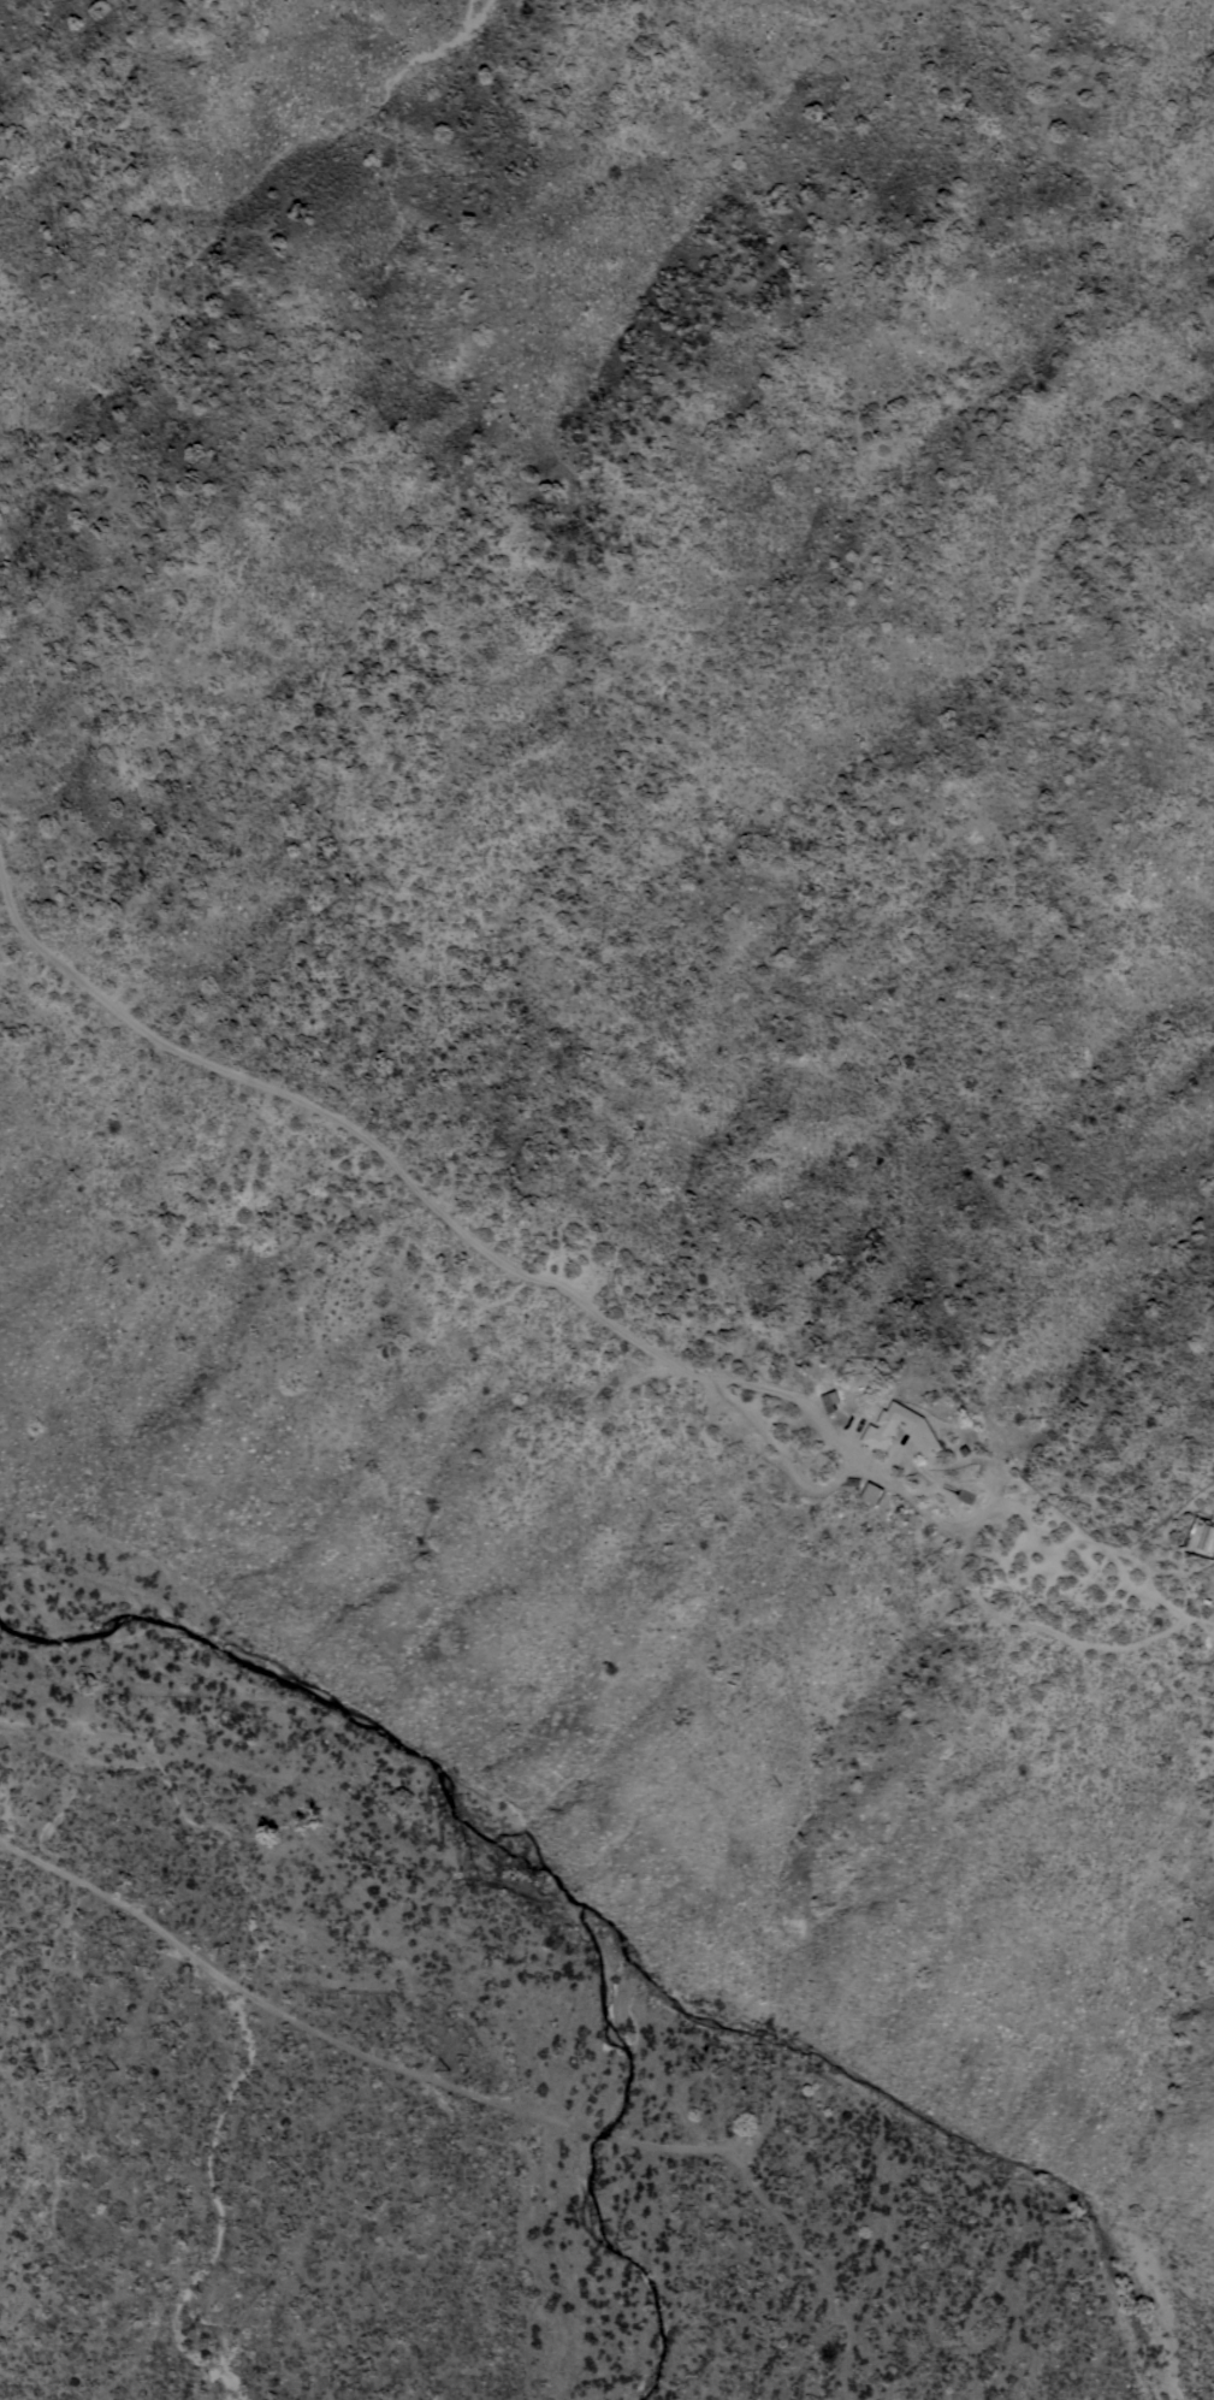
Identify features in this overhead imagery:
road: (351, 1124)
building: (882, 1430)
building: (818, 1464)
building: (874, 1492)

